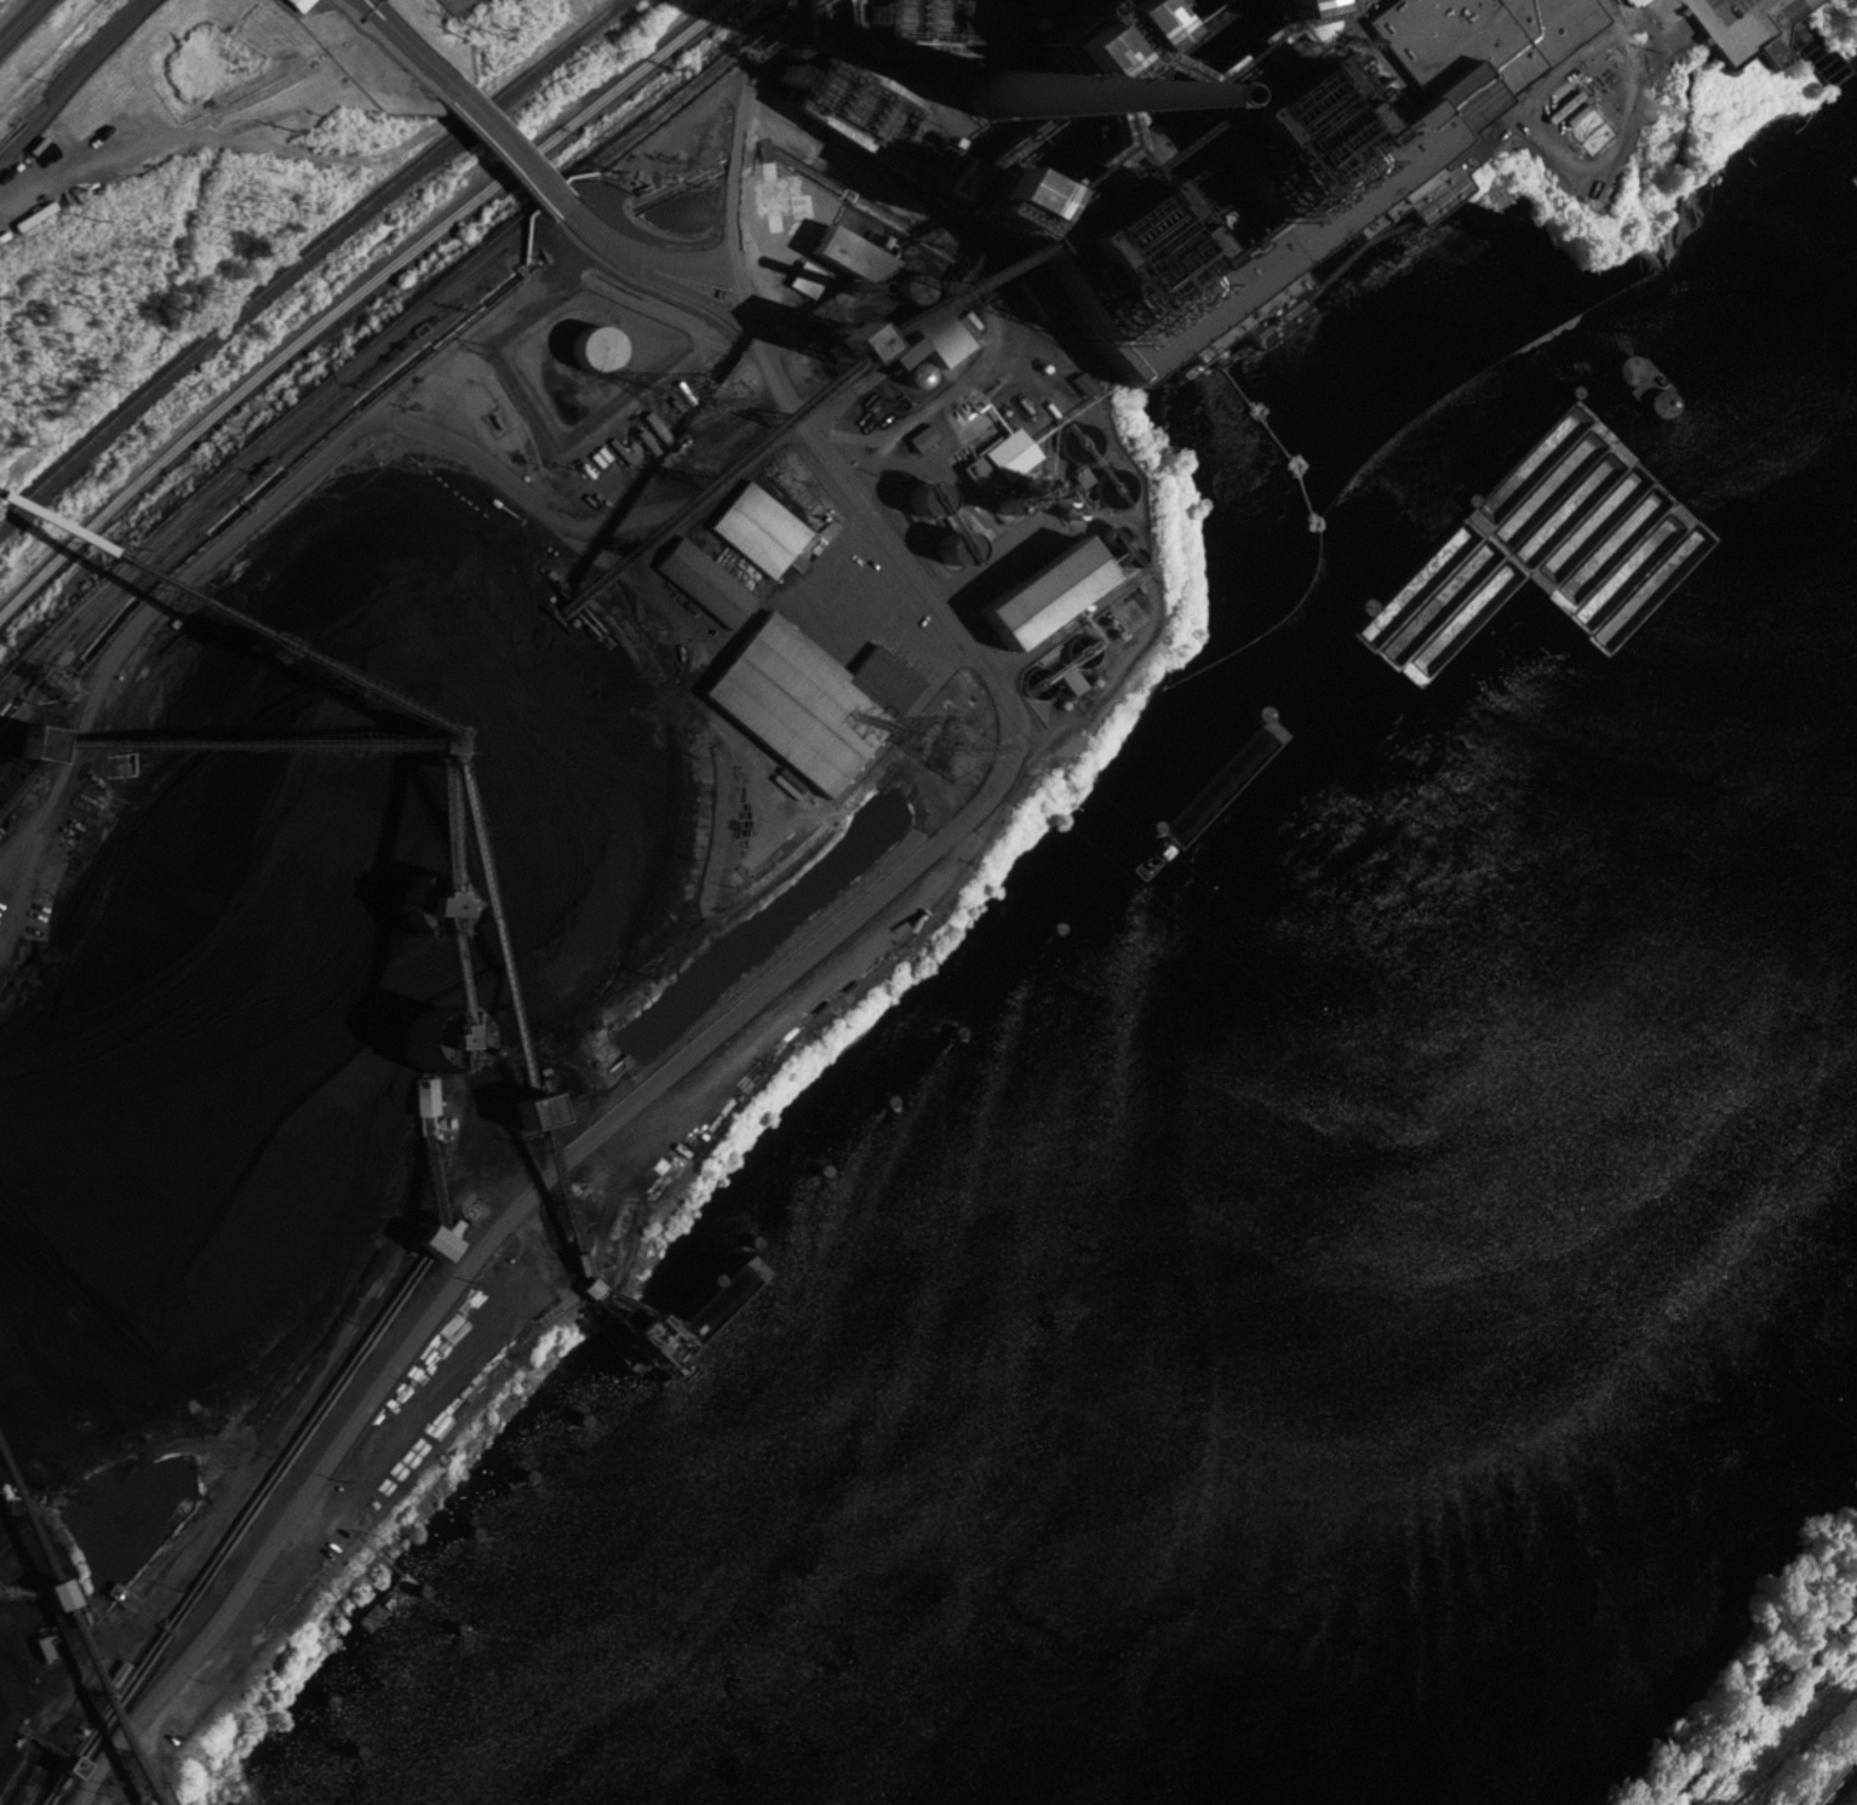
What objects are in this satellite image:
road: (363, 1)
building: (1630, 1)
building: (288, 2)
road: (15, 16)
building: (1746, 23)
road: (401, 44)
road: (68, 76)
chimney: (959, 97)
road: (498, 147)
building: (1088, 153)
railway: (304, 253)
road: (649, 256)
railway: (359, 293)
building: (592, 337)
storage tank: (592, 337)
building: (487, 373)
power tower: (697, 390)
building: (1004, 460)
railway: (254, 462)
building: (1502, 502)
building: (757, 522)
railway: (142, 555)
building: (704, 574)
building: (1039, 583)
power plant: (596, 663)
building: (799, 694)
power tower: (950, 734)
road: (813, 947)
building: (418, 1093)
building: (534, 1102)
building: (577, 1284)
river: (1421, 1299)
building: (647, 1350)
building: (39, 1593)
road: (1754, 1692)
road: (1840, 1787)

